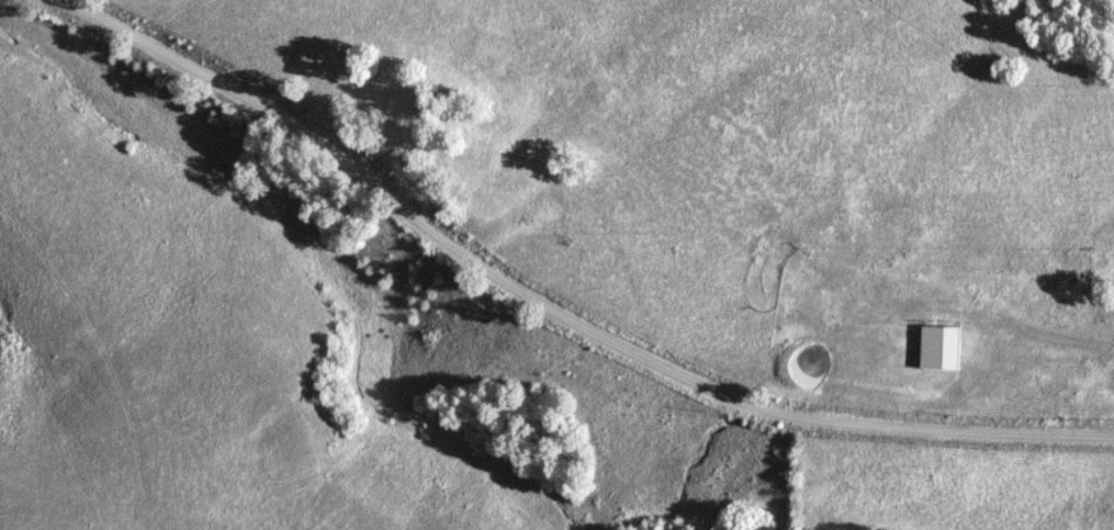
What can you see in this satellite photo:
road: (552, 309)
building: (939, 348)

